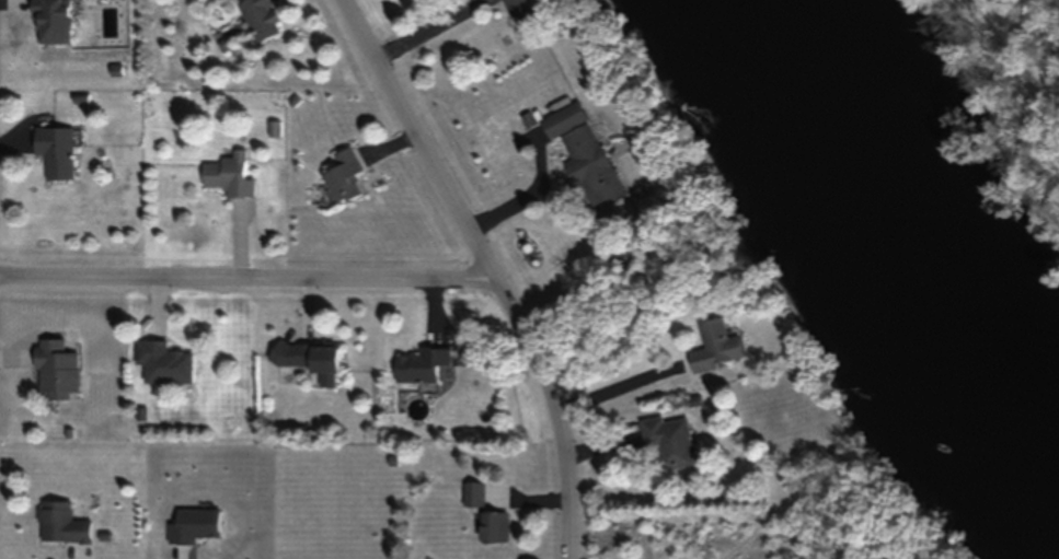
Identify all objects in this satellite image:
building: (525, 14)
building: (262, 20)
building: (55, 21)
road: (429, 32)
building: (56, 151)
building: (584, 155)
building: (232, 177)
building: (346, 177)
river: (901, 220)
road: (484, 269)
road: (248, 287)
building: (720, 348)
building: (312, 361)
building: (166, 362)
building: (423, 365)
building: (59, 369)
building: (674, 443)
building: (474, 494)
building: (64, 524)
building: (493, 526)

